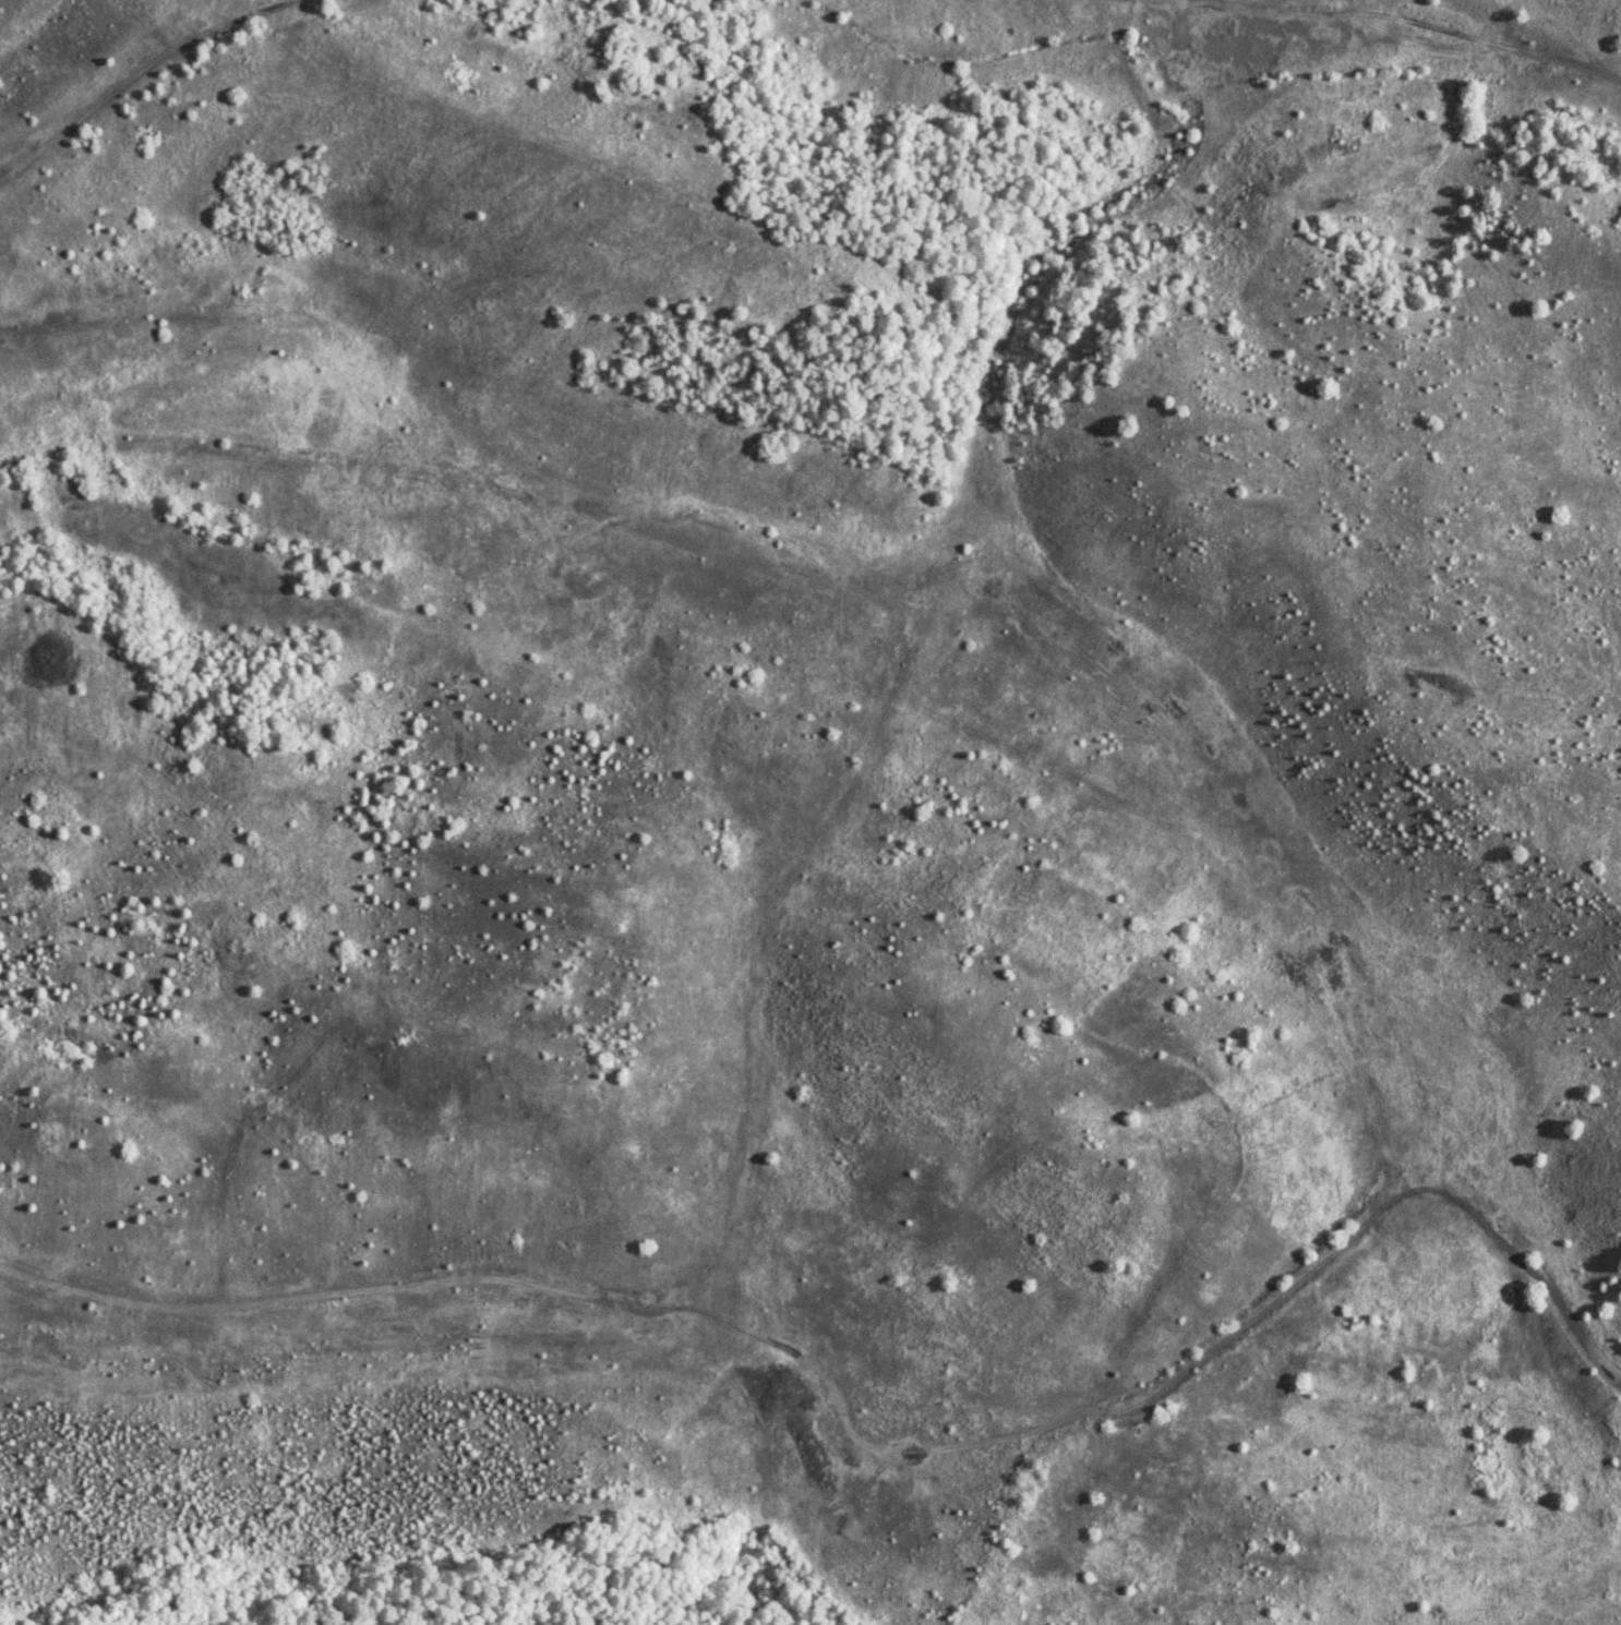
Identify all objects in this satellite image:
quarry: (817, 796)

